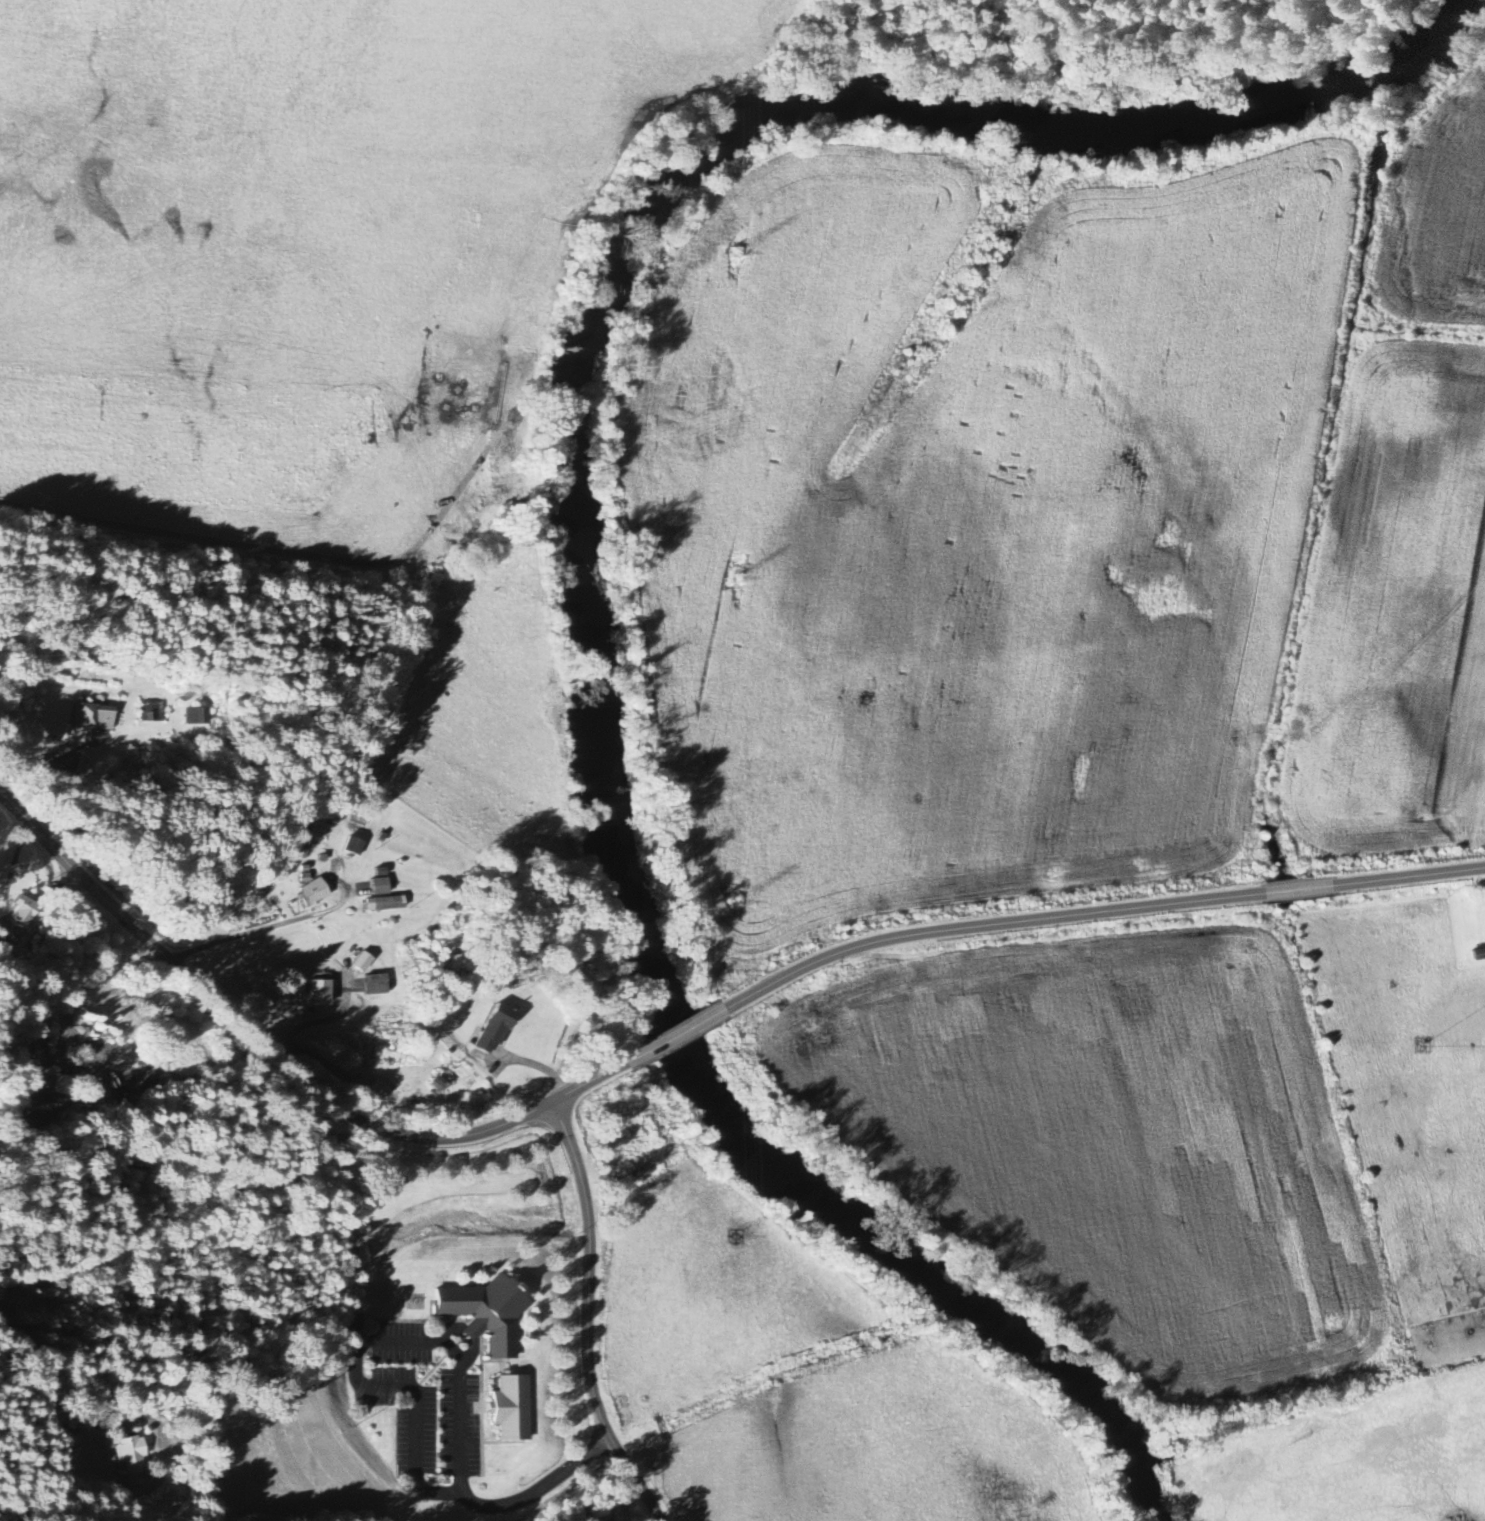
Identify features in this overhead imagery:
power tower: (732, 251)
river: (581, 363)
power tower: (733, 579)
building: (193, 717)
building: (90, 718)
road: (48, 759)
building: (352, 848)
road: (11, 878)
road: (1408, 879)
building: (377, 888)
road: (1296, 889)
building: (310, 894)
building: (382, 905)
power tower: (728, 905)
road: (280, 925)
road: (985, 927)
building: (359, 964)
building: (374, 986)
building: (316, 994)
road: (66, 1008)
building: (493, 1030)
road: (674, 1036)
road: (280, 1059)
road: (536, 1065)
building: (378, 1090)
road: (140, 1168)
power tower: (734, 1233)
building: (483, 1315)
road: (587, 1318)
road: (361, 1339)
river: (1054, 1374)
road: (43, 1407)
building: (508, 1409)
building: (130, 1460)
road: (540, 1486)
river: (1152, 1497)
building: (600, 1513)

